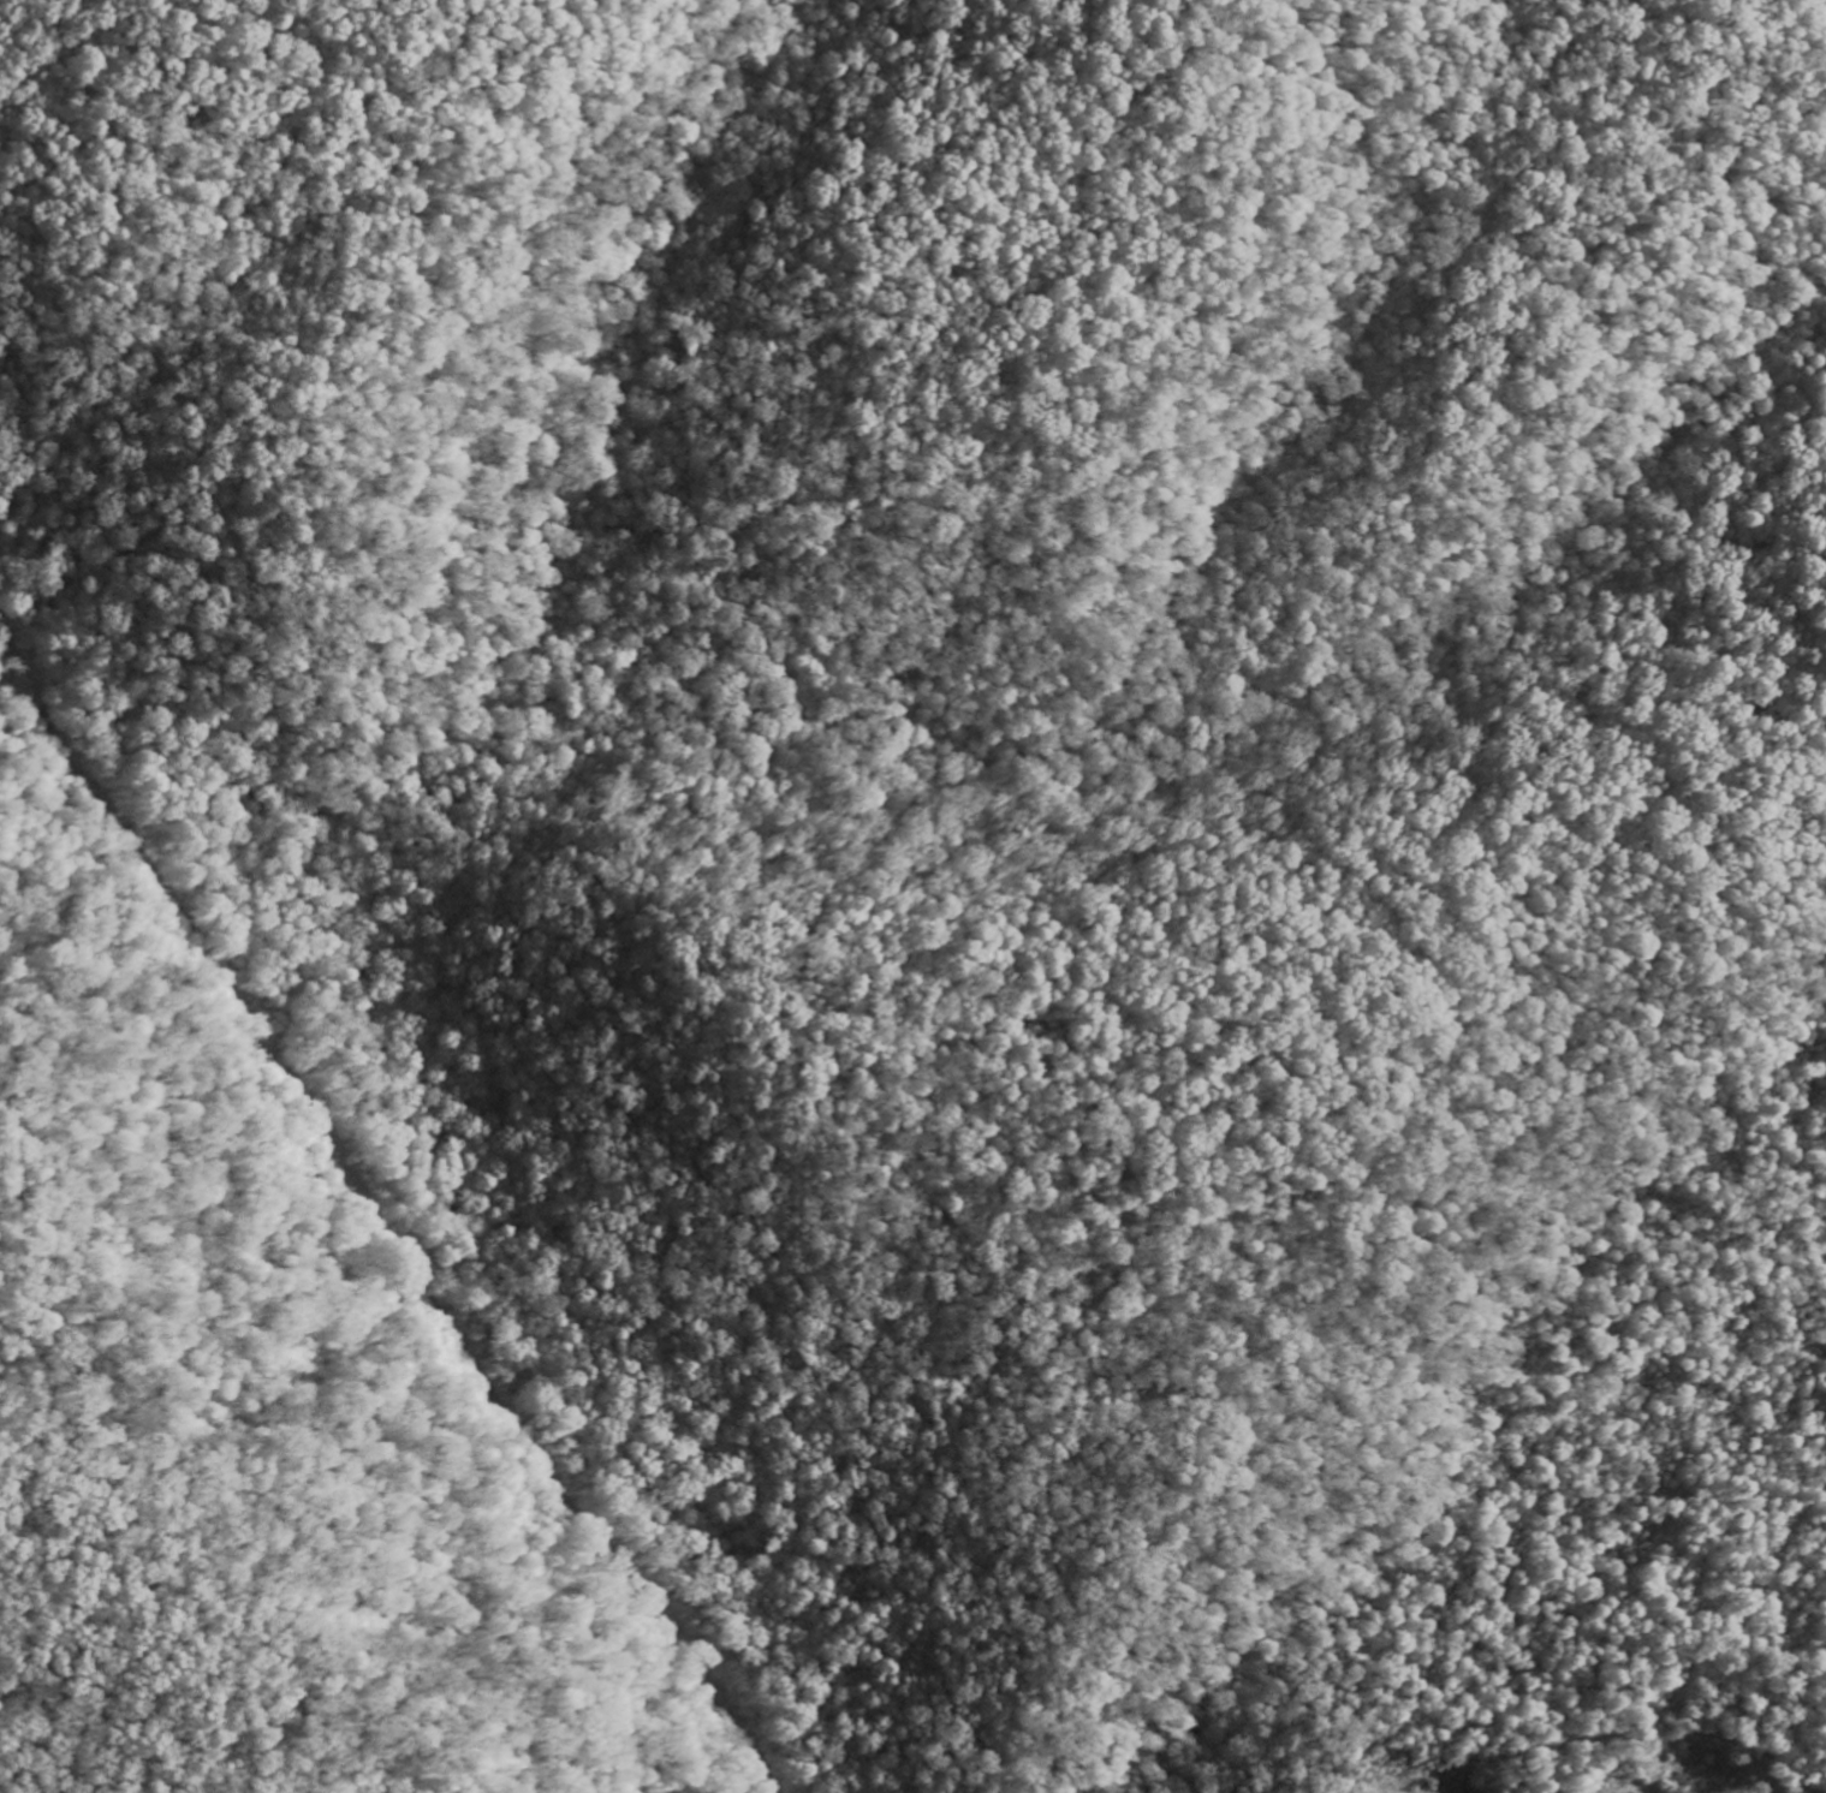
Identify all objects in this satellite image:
road: (1706, 1732)

